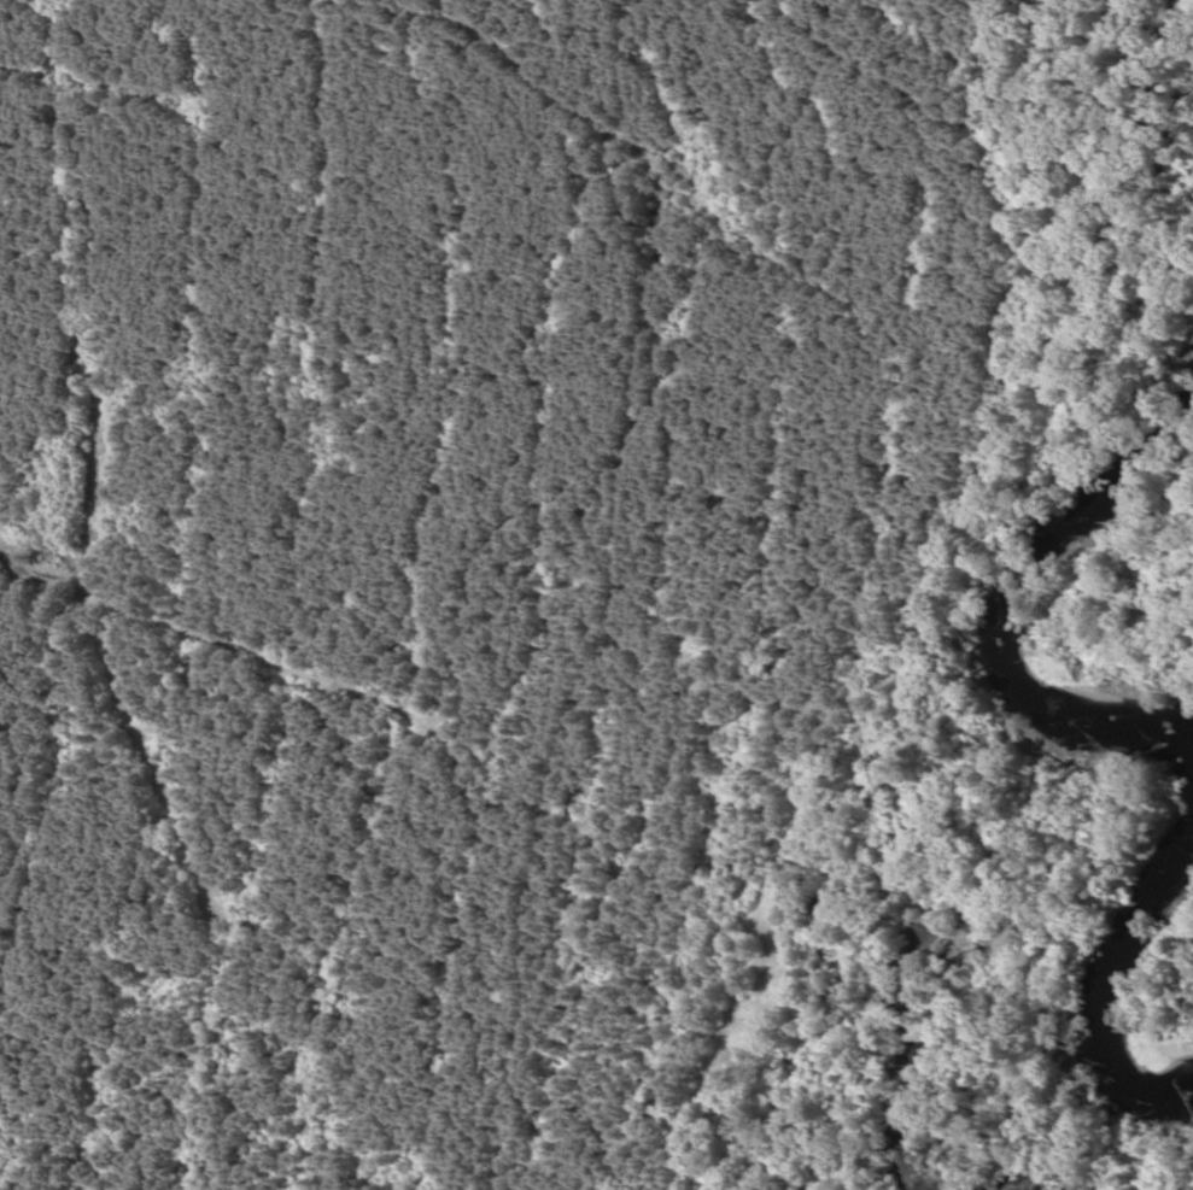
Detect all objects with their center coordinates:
river: (1016, 585)
river: (1125, 942)

